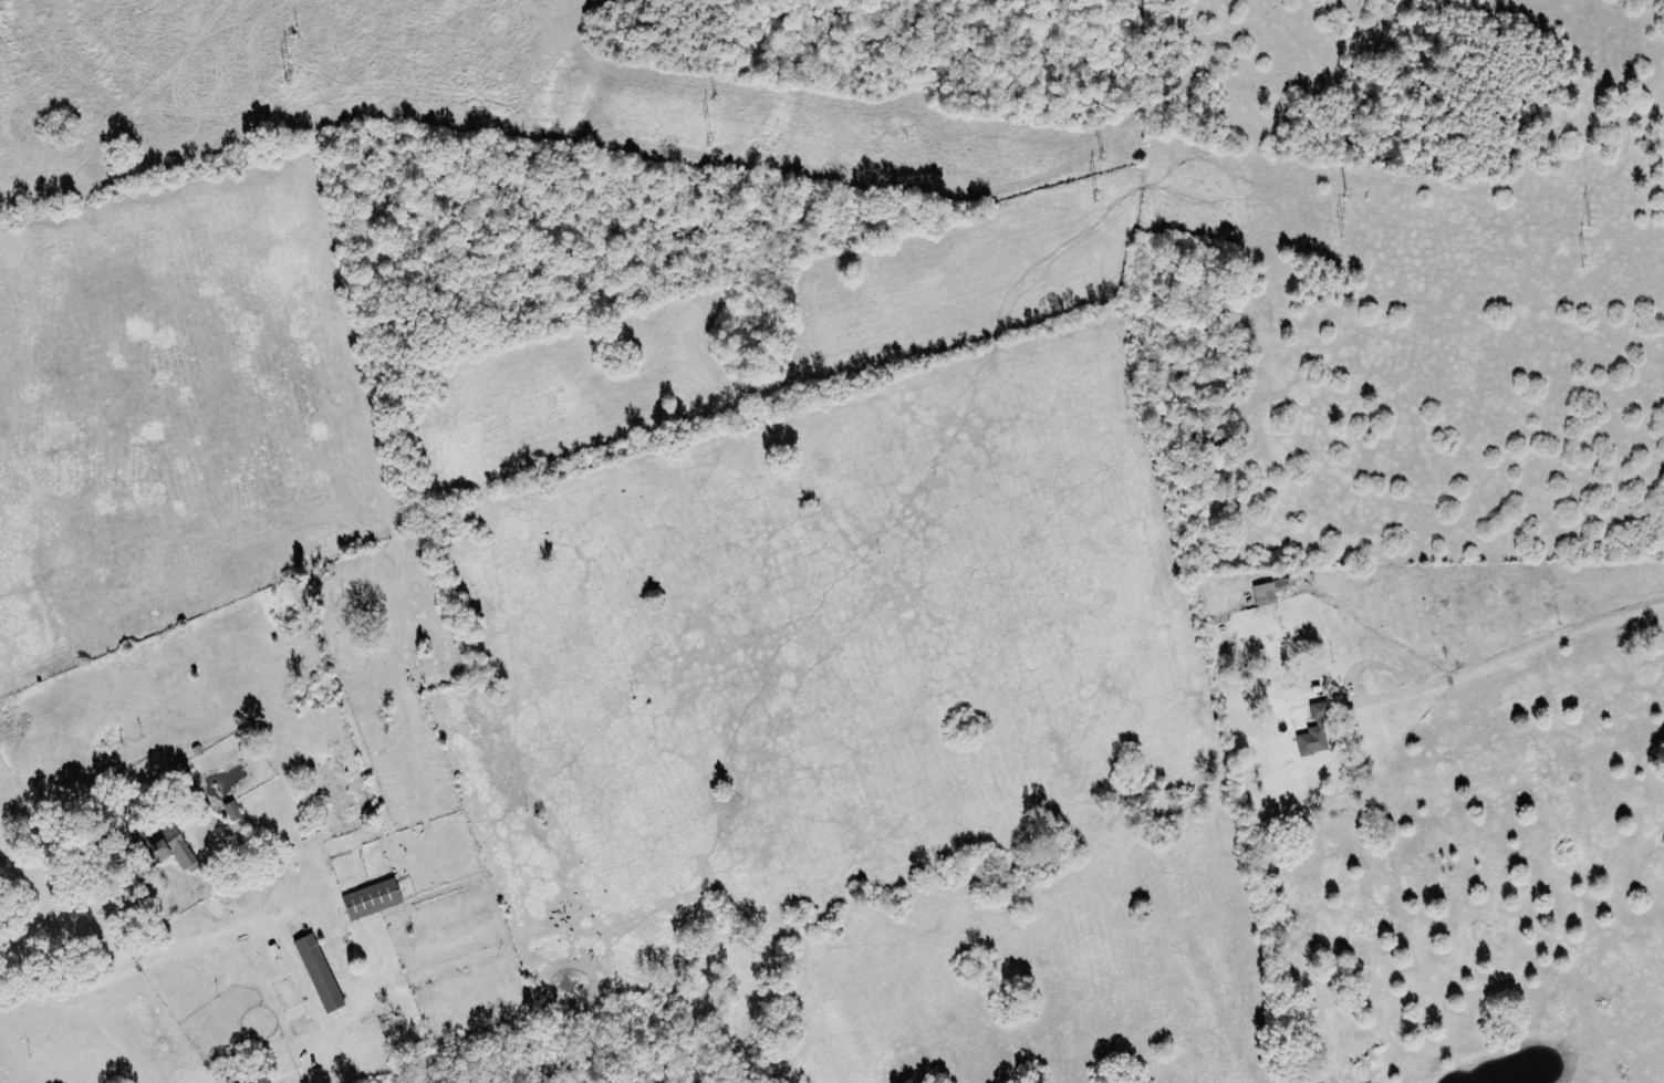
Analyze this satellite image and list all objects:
power tower: (284, 72)
power tower: (710, 136)
power tower: (1096, 194)
power tower: (1342, 230)
power tower: (1587, 259)
building: (1271, 590)
road: (1543, 644)
road: (1353, 680)
building: (1313, 732)
building: (231, 809)
building: (163, 847)
building: (371, 897)
road: (189, 933)
building: (318, 971)
building: (292, 1006)

